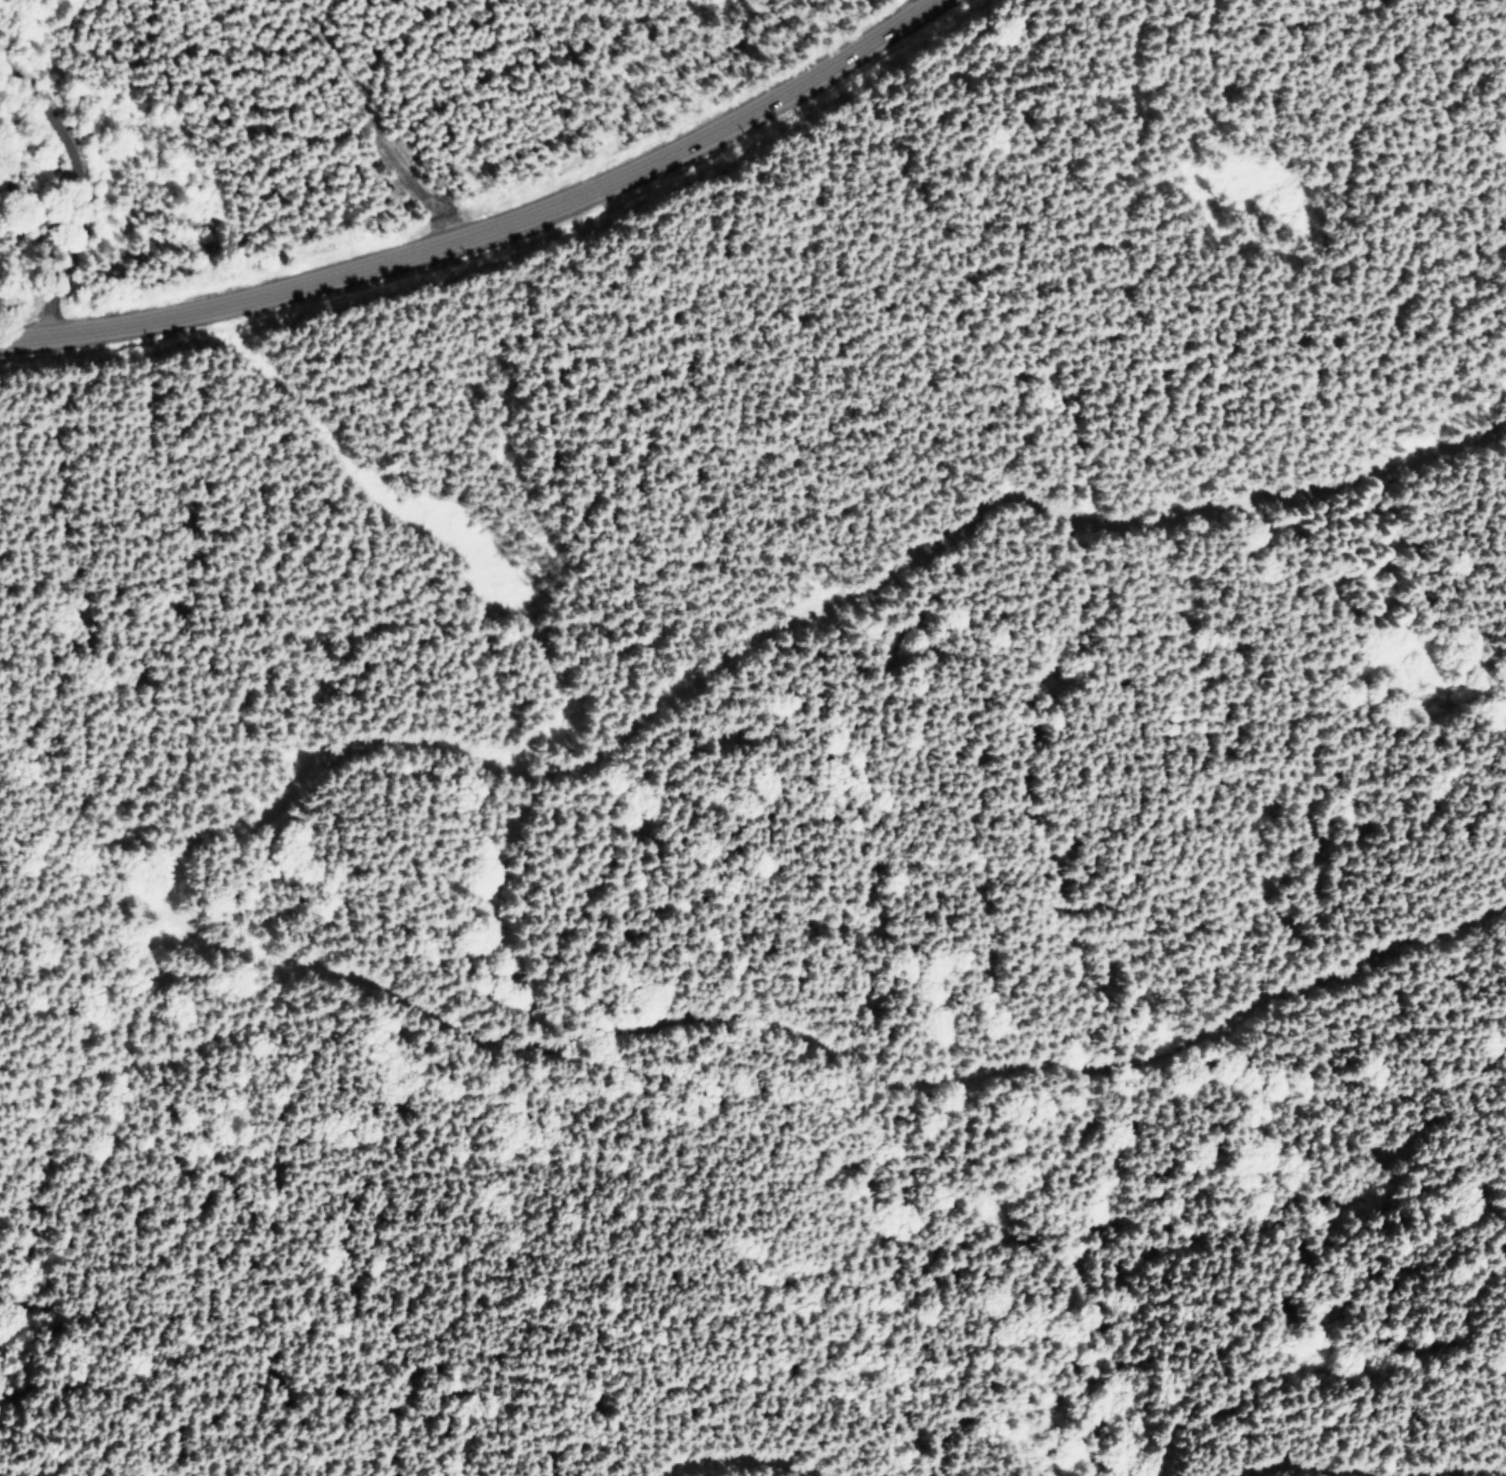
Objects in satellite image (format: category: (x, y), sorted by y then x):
road: (79, 188)
road: (487, 230)
road: (422, 526)
road: (181, 868)
road: (745, 1461)
road: (1301, 1468)
road: (1490, 1475)

